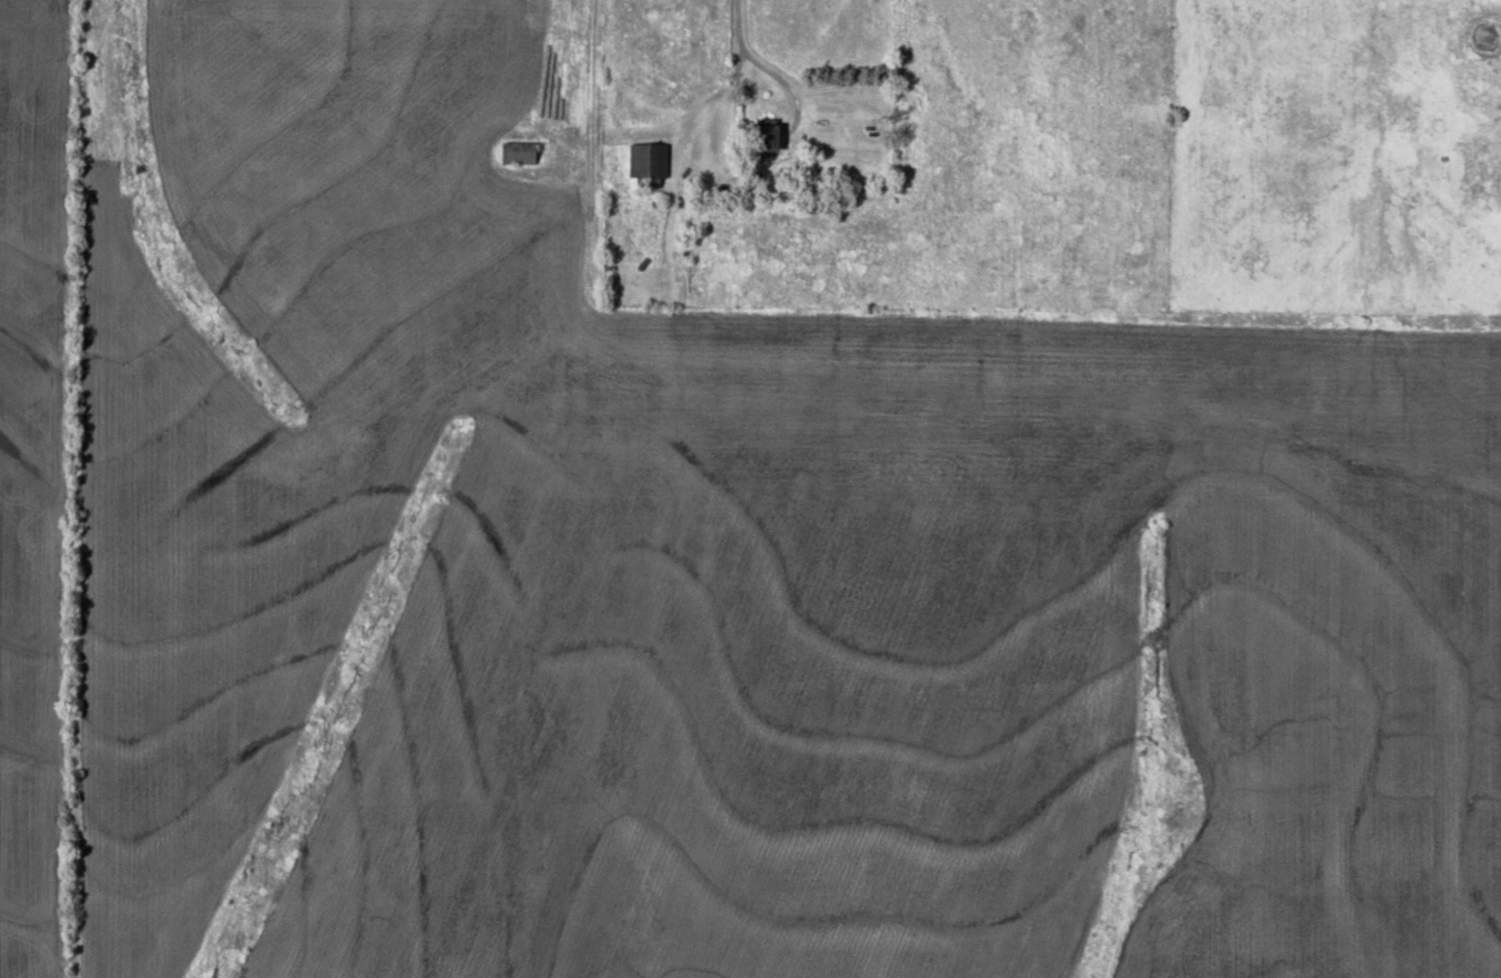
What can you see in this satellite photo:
road: (752, 66)
building: (765, 137)
building: (518, 154)
building: (647, 164)

